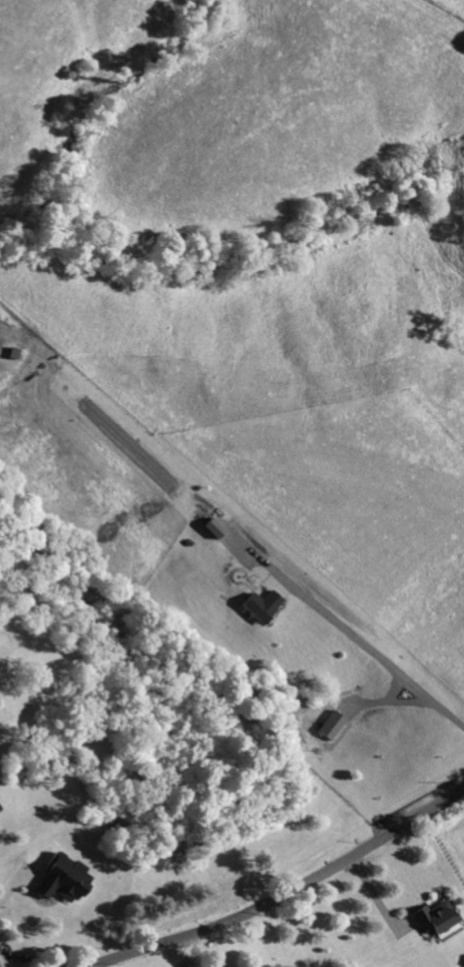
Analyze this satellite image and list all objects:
building: (216, 529)
building: (263, 606)
road: (377, 652)
building: (334, 726)
building: (1, 808)
building: (62, 879)
road: (283, 893)
road: (379, 899)
building: (436, 918)

